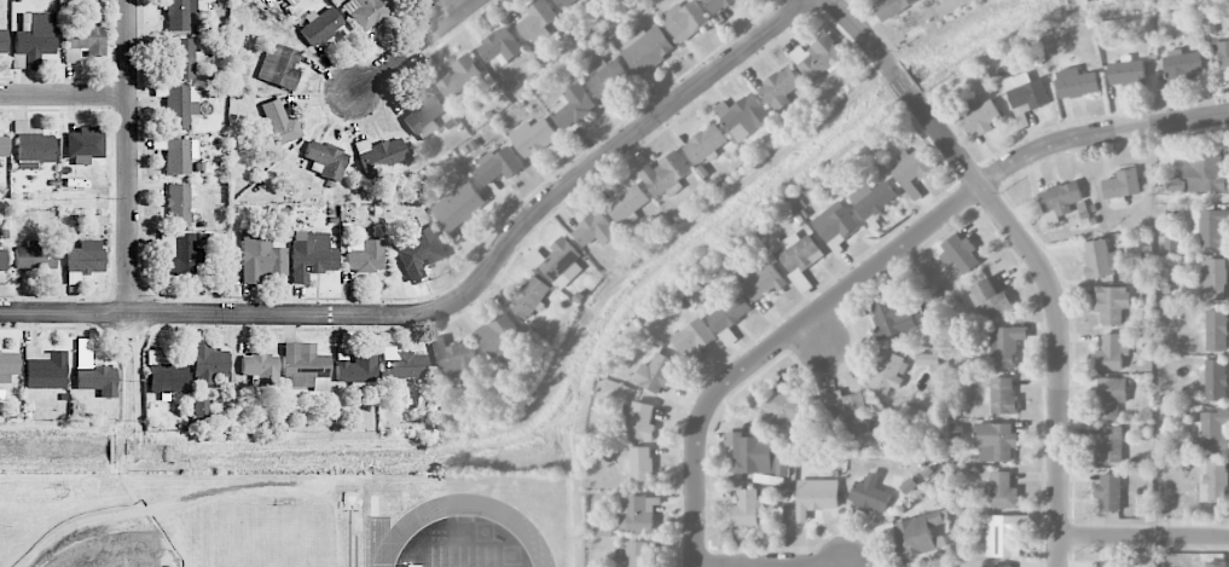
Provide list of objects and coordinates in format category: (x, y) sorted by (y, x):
building: (564, 2)
building: (718, 5)
road: (450, 7)
building: (892, 7)
building: (369, 11)
building: (179, 13)
building: (685, 21)
building: (538, 22)
building: (320, 25)
building: (34, 37)
building: (81, 40)
building: (2, 41)
road: (415, 46)
building: (500, 47)
building: (645, 48)
building: (1222, 54)
building: (818, 57)
building: (182, 58)
building: (1182, 65)
building: (279, 66)
building: (1127, 73)
building: (607, 76)
building: (462, 77)
building: (1076, 83)
building: (781, 87)
building: (1026, 92)
road: (64, 97)
building: (180, 106)
building: (574, 106)
building: (743, 116)
building: (424, 117)
building: (980, 118)
building: (279, 122)
building: (533, 137)
building: (706, 144)
building: (4, 145)
building: (85, 145)
building: (30, 146)
building: (179, 155)
building: (379, 156)
road: (129, 157)
building: (326, 158)
building: (498, 166)
building: (911, 172)
building: (1206, 174)
building: (665, 175)
building: (1121, 185)
building: (1175, 185)
building: (873, 198)
building: (1060, 198)
building: (178, 203)
building: (627, 204)
building: (458, 206)
building: (836, 224)
building: (1211, 227)
building: (596, 230)
road: (1032, 249)
building: (419, 250)
road: (502, 250)
building: (960, 254)
building: (184, 255)
building: (260, 255)
building: (364, 255)
building: (34, 256)
building: (311, 256)
building: (798, 256)
building: (1098, 259)
building: (2, 260)
building: (83, 260)
road: (880, 261)
building: (558, 264)
building: (1213, 279)
building: (763, 282)
building: (527, 297)
building: (991, 299)
building: (1112, 303)
building: (730, 312)
road: (66, 314)
building: (892, 317)
building: (1216, 330)
building: (499, 336)
building: (694, 339)
building: (1007, 346)
building: (1112, 352)
building: (456, 358)
building: (207, 361)
building: (404, 364)
building: (7, 365)
building: (305, 366)
building: (353, 366)
building: (261, 368)
building: (44, 369)
building: (887, 371)
building: (655, 374)
building: (164, 375)
building: (97, 380)
building: (1216, 380)
building: (1003, 397)
building: (1111, 397)
building: (199, 409)
building: (785, 410)
building: (847, 412)
building: (637, 421)
building: (1214, 429)
building: (996, 442)
building: (1111, 445)
building: (755, 455)
building: (639, 468)
building: (1216, 481)
building: (1003, 491)
building: (1109, 491)
building: (816, 497)
building: (870, 497)
building: (746, 508)
building: (640, 514)
track: (534, 530)
building: (917, 534)
building: (1005, 534)
road: (1144, 534)
building: (638, 554)
building: (1112, 563)
building: (1216, 563)
road: (755, 565)
building: (1001, 566)

